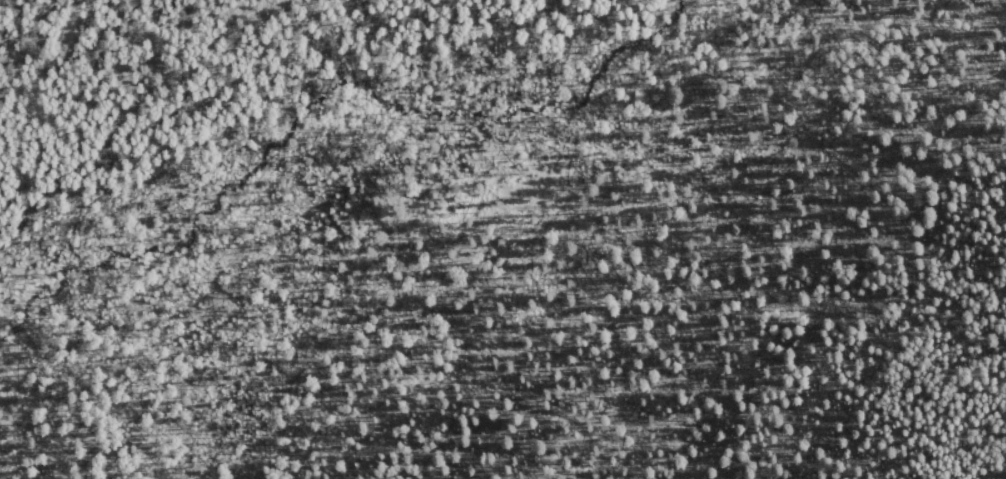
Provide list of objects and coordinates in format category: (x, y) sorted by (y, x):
road: (365, 139)

